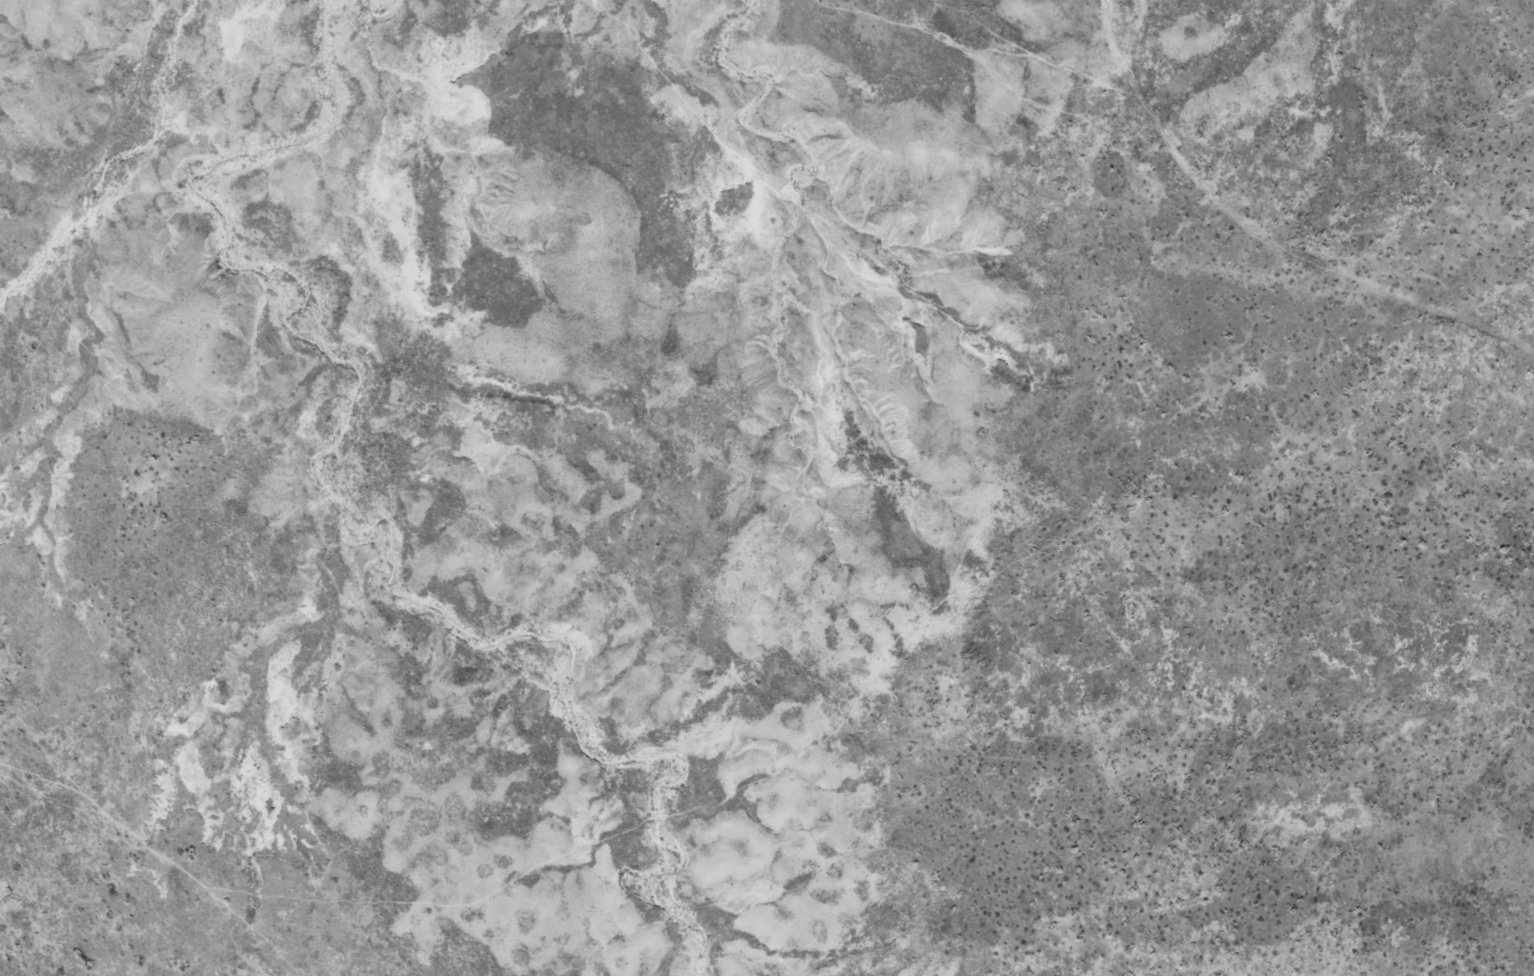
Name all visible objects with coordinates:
road: (1284, 209)

